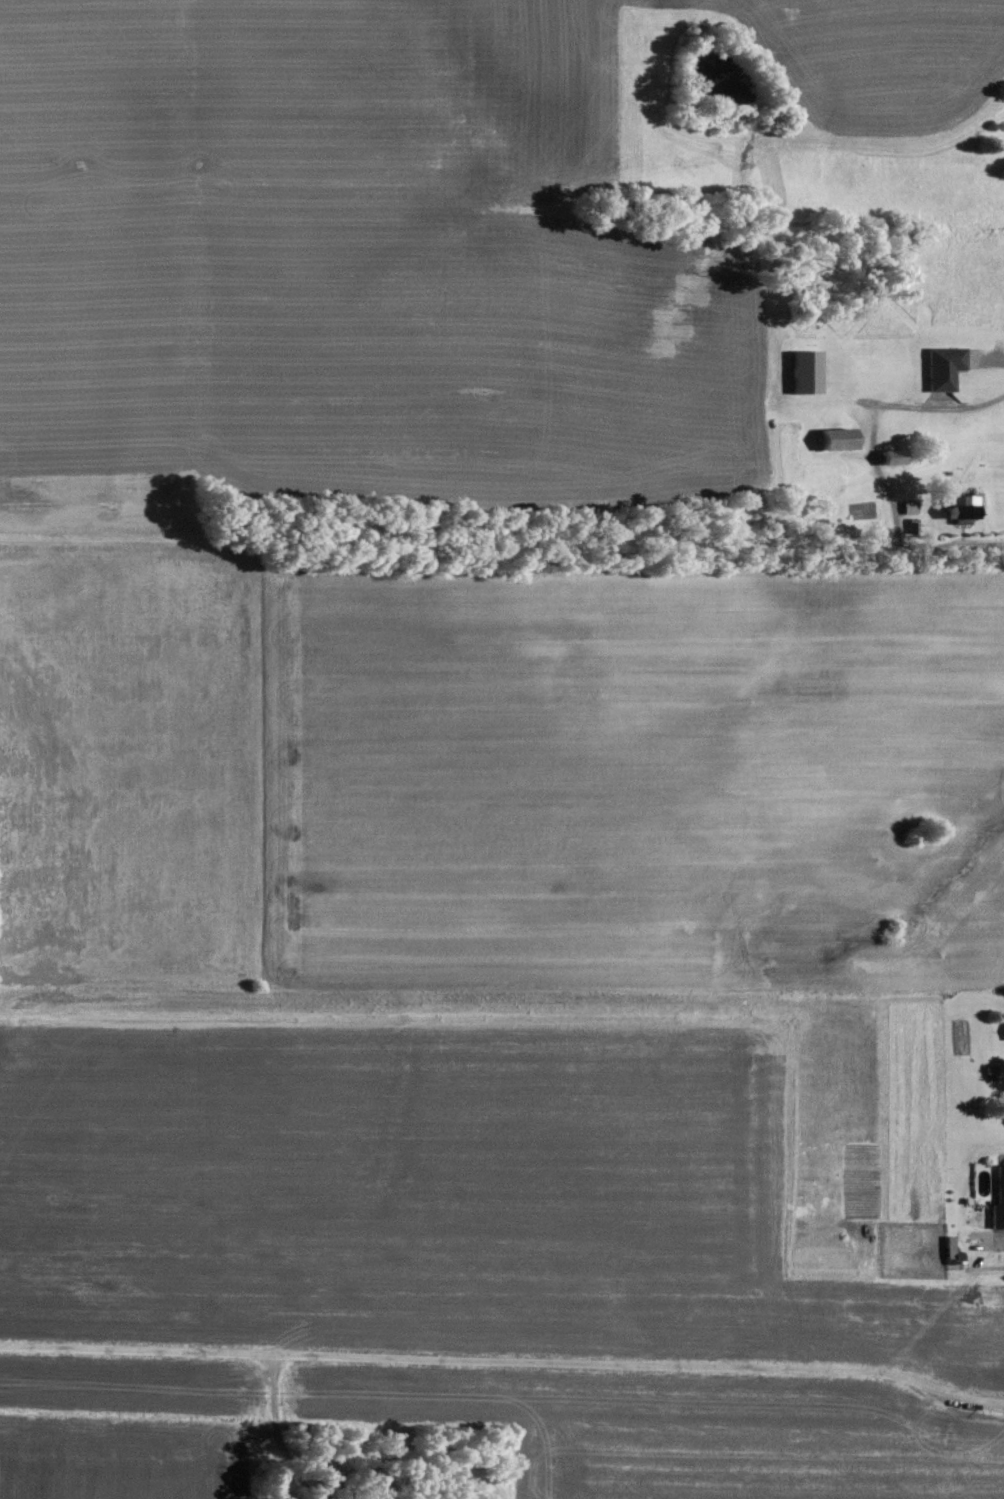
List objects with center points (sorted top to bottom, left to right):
building: (946, 366)
building: (807, 371)
building: (840, 438)
building: (896, 456)
building: (961, 503)
building: (912, 507)
road: (962, 545)
building: (1000, 1202)
road: (1003, 1234)
building: (954, 1250)
road: (504, 1359)

